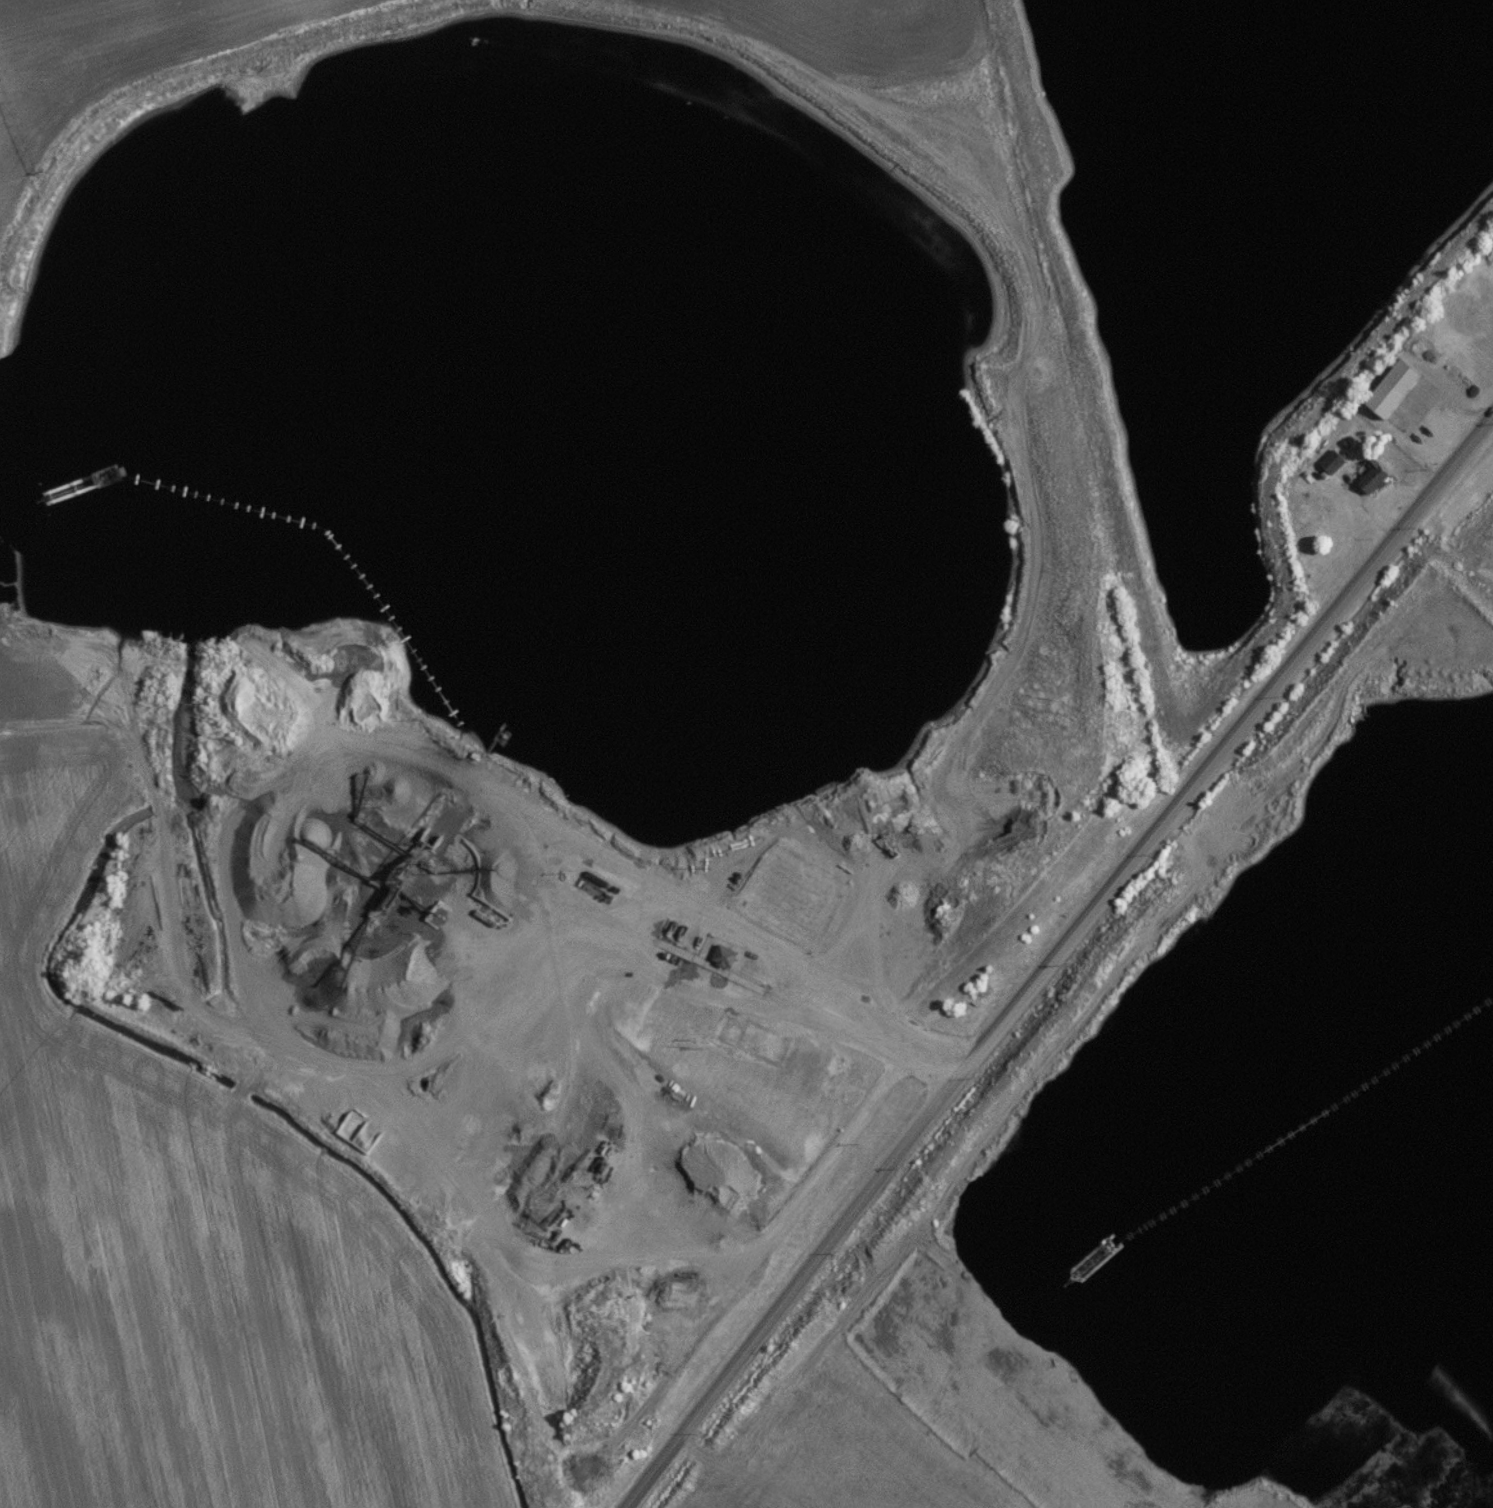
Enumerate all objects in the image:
road: (1059, 962)
quarry: (1421, 1204)

